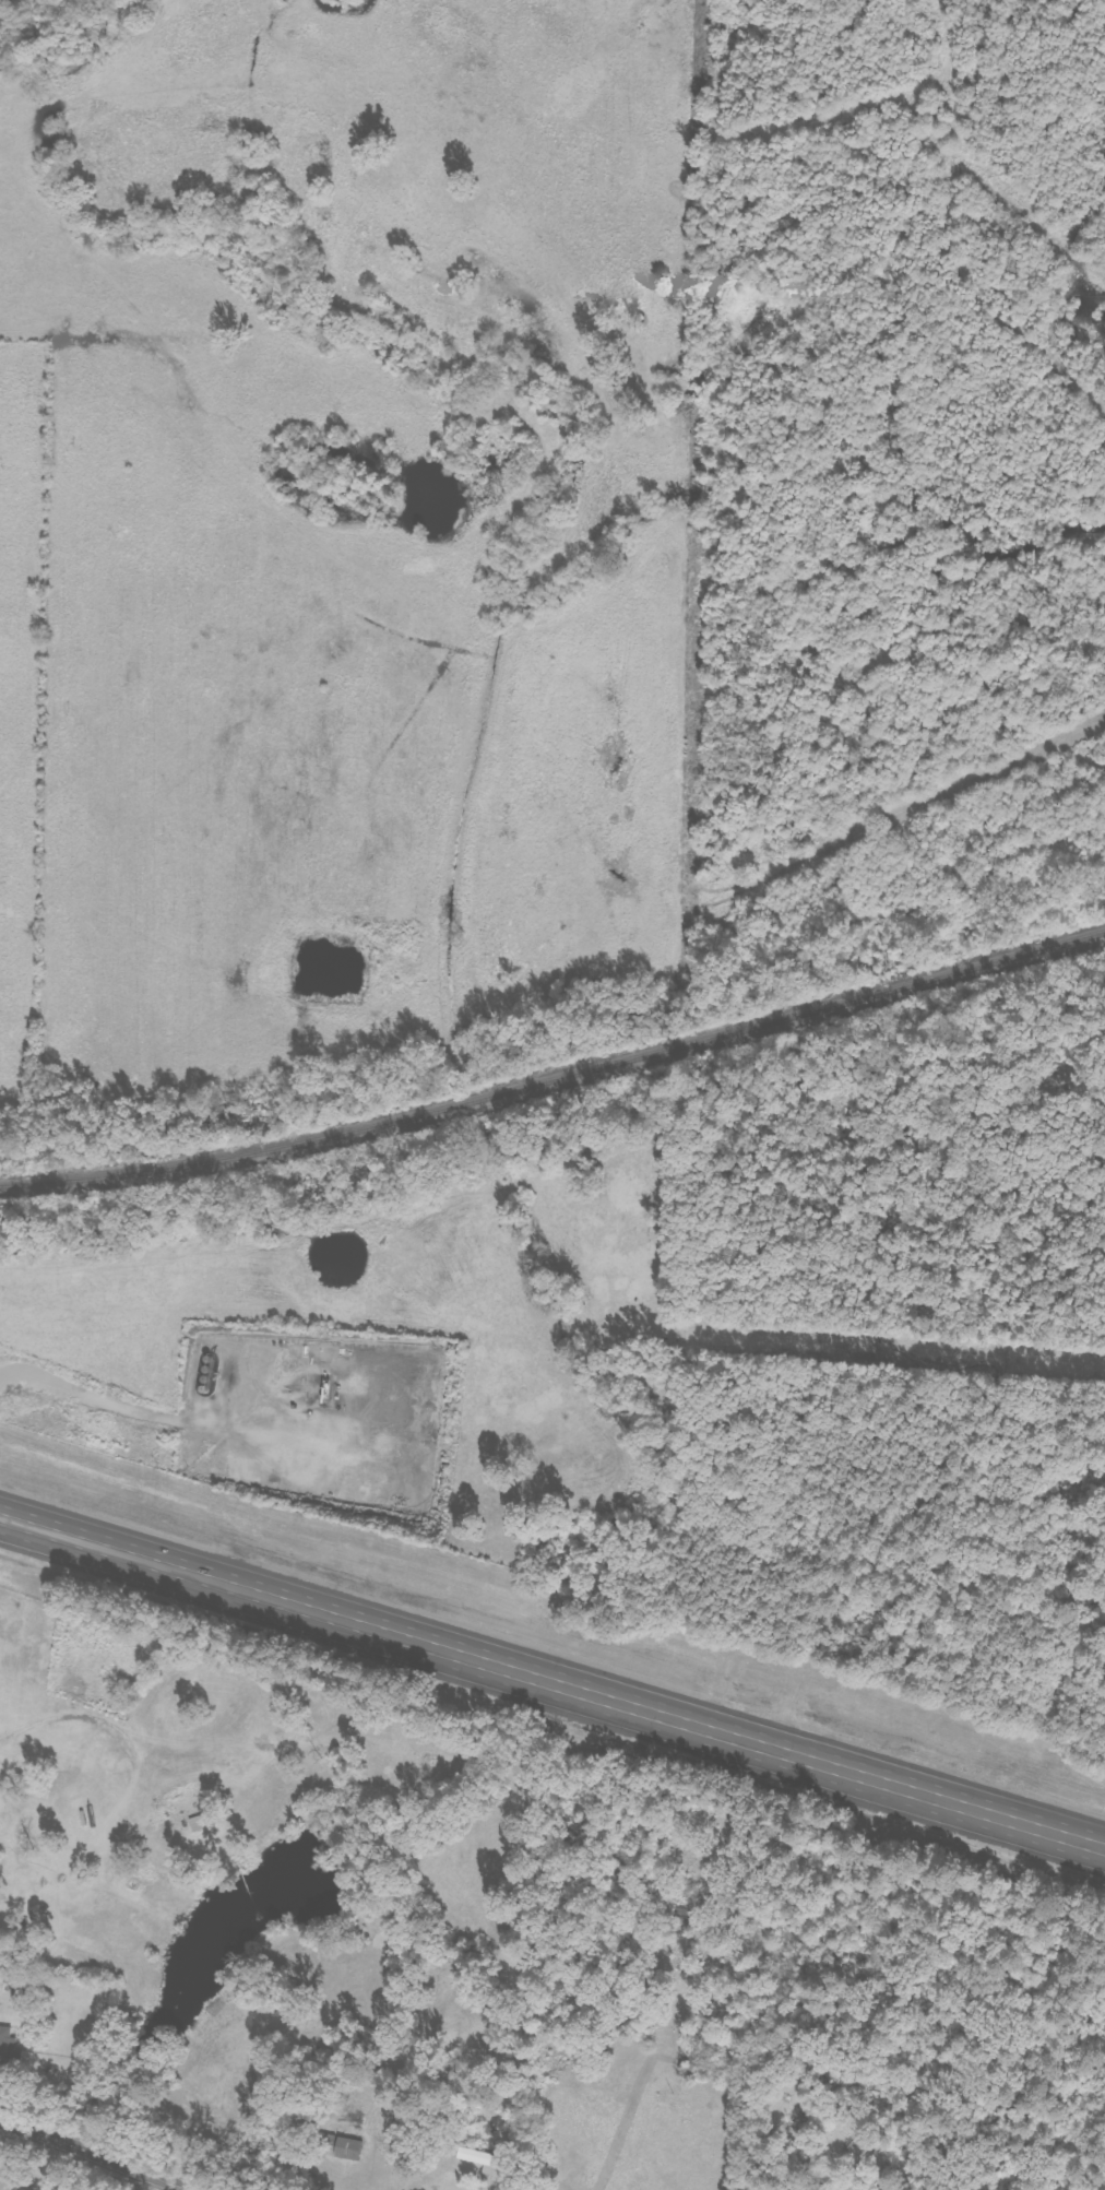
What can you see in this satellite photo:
railway: (557, 1081)
road: (552, 1683)
building: (9, 2049)
building: (346, 2148)
road: (86, 2156)
building: (472, 2156)

